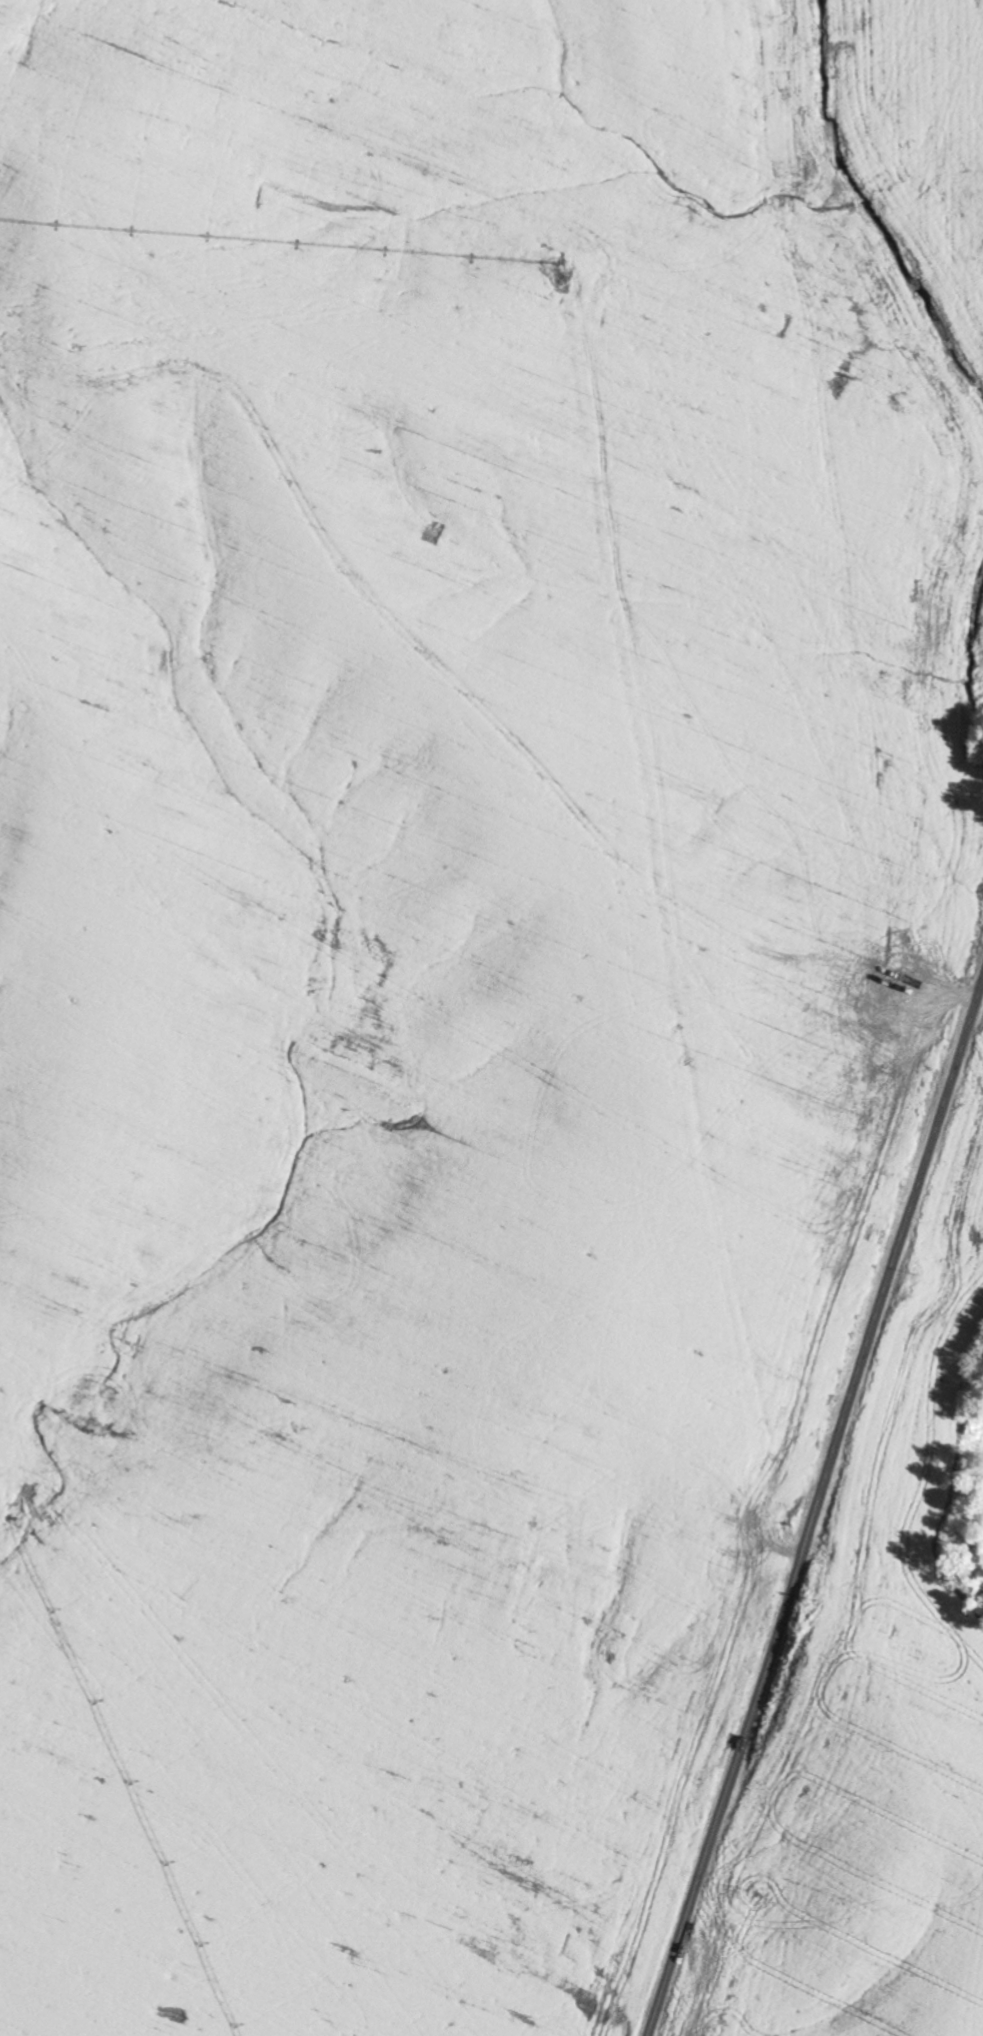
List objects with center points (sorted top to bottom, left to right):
road: (816, 1512)

